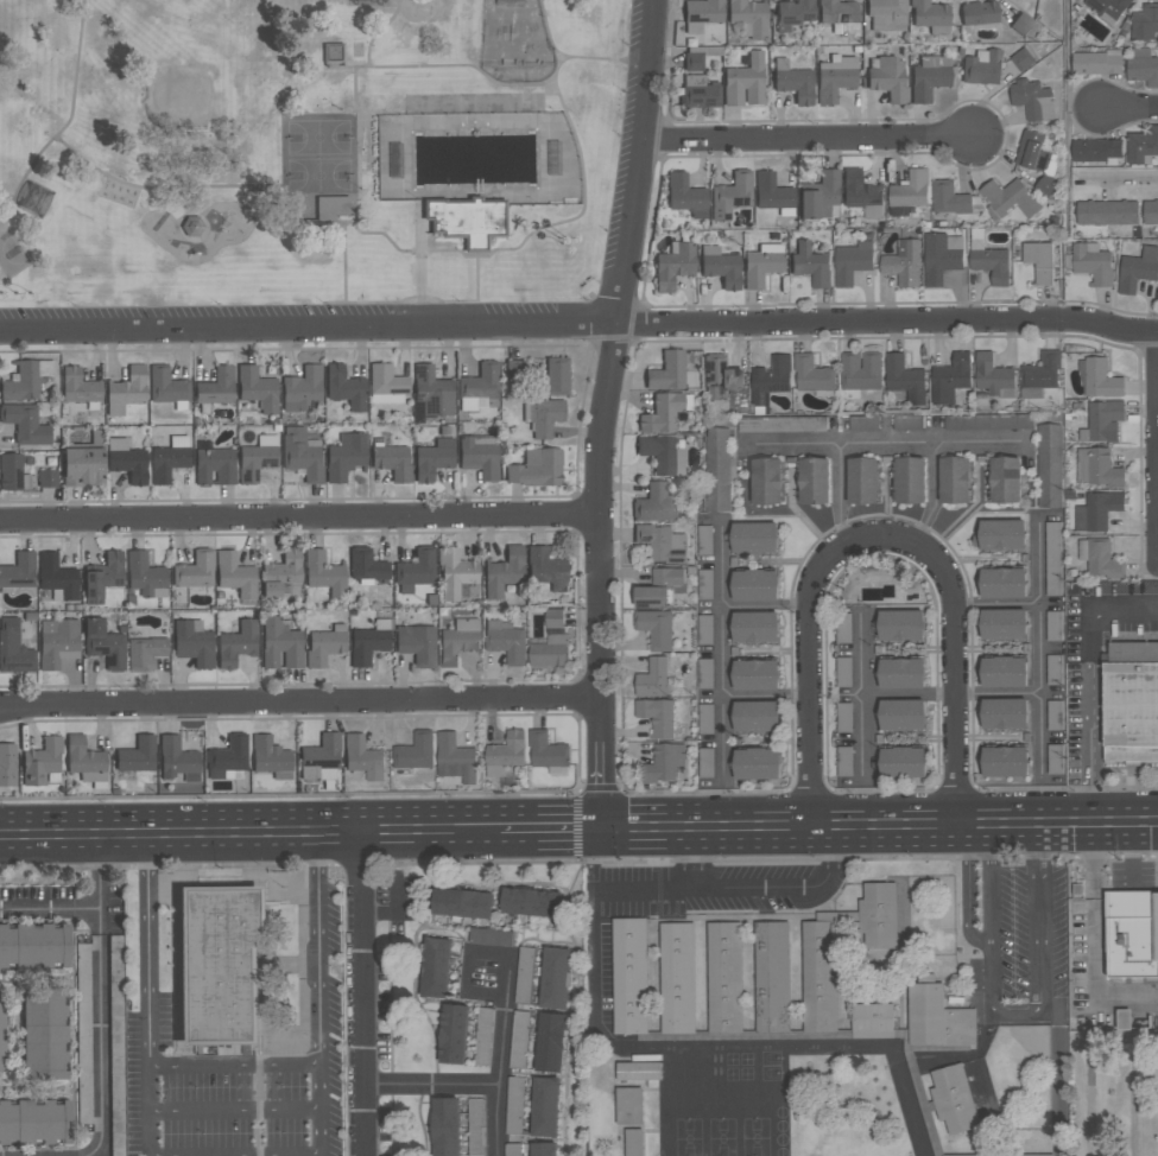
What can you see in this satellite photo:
building: (366, 1)
building: (1107, 8)
building: (979, 12)
building: (701, 13)
building: (792, 13)
building: (886, 14)
building: (930, 15)
building: (748, 17)
building: (840, 17)
building: (1021, 23)
building: (1145, 23)
park: (515, 42)
building: (335, 52)
building: (697, 56)
road: (562, 57)
building: (1021, 59)
building: (1096, 63)
road: (425, 65)
building: (982, 66)
building: (1143, 66)
road: (1065, 69)
building: (835, 76)
building: (929, 76)
building: (887, 77)
building: (745, 81)
building: (793, 81)
building: (698, 91)
park: (178, 97)
building: (1032, 100)
road: (1128, 106)
road: (69, 121)
road: (359, 127)
road: (806, 138)
building: (1143, 145)
park: (305, 151)
building: (1096, 151)
park: (318, 152)
building: (1037, 159)
road: (1120, 180)
building: (909, 192)
building: (772, 193)
building: (861, 193)
building: (685, 195)
building: (730, 195)
building: (820, 195)
building: (33, 197)
building: (951, 198)
building: (1007, 198)
building: (316, 207)
building: (1106, 212)
building: (1150, 212)
building: (468, 220)
road: (380, 231)
park: (12, 255)
road: (343, 255)
building: (941, 256)
building: (988, 259)
building: (1038, 261)
building: (852, 262)
building: (903, 262)
building: (761, 263)
building: (810, 263)
building: (1090, 263)
road: (420, 265)
building: (673, 265)
building: (720, 266)
building: (1137, 269)
road: (423, 301)
road: (580, 322)
building: (514, 368)
building: (667, 369)
building: (721, 373)
building: (859, 373)
building: (556, 375)
building: (812, 375)
building: (1040, 375)
building: (993, 376)
building: (950, 377)
building: (25, 379)
building: (904, 379)
building: (1099, 379)
building: (770, 382)
building: (387, 385)
building: (479, 386)
building: (80, 387)
building: (167, 387)
building: (344, 387)
building: (216, 388)
building: (257, 388)
building: (302, 388)
building: (126, 390)
building: (710, 392)
building: (430, 394)
road: (603, 411)
building: (664, 412)
building: (543, 417)
building: (1102, 421)
building: (25, 423)
building: (987, 423)
building: (863, 424)
building: (907, 424)
building: (782, 425)
road: (790, 440)
road: (836, 444)
building: (663, 452)
building: (302, 453)
road: (934, 453)
building: (346, 455)
building: (480, 456)
building: (258, 457)
building: (169, 458)
building: (434, 458)
building: (127, 459)
building: (392, 459)
building: (83, 461)
building: (215, 464)
building: (1049, 465)
building: (537, 468)
building: (1096, 468)
building: (717, 470)
building: (12, 472)
building: (48, 478)
building: (910, 479)
building: (954, 479)
building: (1005, 479)
building: (766, 481)
building: (814, 481)
building: (862, 481)
building: (656, 503)
building: (1097, 510)
road: (298, 519)
building: (1000, 534)
building: (754, 538)
road: (881, 539)
building: (704, 540)
building: (662, 544)
building: (1052, 559)
building: (1100, 559)
building: (366, 565)
building: (416, 569)
building: (546, 569)
building: (195, 570)
building: (504, 571)
building: (18, 572)
building: (324, 572)
building: (283, 573)
building: (145, 574)
building: (236, 574)
building: (456, 574)
building: (102, 576)
building: (57, 577)
building: (1002, 583)
building: (704, 584)
building: (754, 585)
building: (659, 589)
road: (995, 603)
building: (1002, 624)
building: (900, 625)
building: (755, 627)
building: (654, 628)
building: (842, 628)
building: (58, 641)
building: (458, 641)
building: (506, 641)
building: (194, 642)
building: (280, 642)
building: (369, 642)
building: (551, 642)
building: (103, 643)
building: (236, 643)
building: (417, 643)
building: (325, 644)
building: (13, 648)
road: (1037, 648)
building: (145, 652)
building: (1053, 669)
building: (843, 672)
building: (1004, 672)
building: (901, 673)
building: (755, 674)
building: (652, 679)
road: (1089, 681)
road: (995, 693)
road: (907, 695)
road: (861, 698)
road: (298, 701)
building: (1129, 705)
building: (1004, 713)
building: (901, 714)
building: (657, 716)
building: (755, 716)
building: (1053, 716)
building: (843, 718)
building: (705, 719)
building: (415, 751)
building: (505, 752)
building: (548, 752)
building: (138, 754)
building: (228, 756)
building: (270, 756)
building: (177, 757)
building: (363, 757)
building: (321, 758)
building: (455, 758)
building: (43, 761)
building: (86, 761)
building: (844, 762)
building: (901, 762)
building: (1004, 762)
building: (663, 763)
building: (757, 763)
building: (7, 764)
road: (576, 802)
road: (877, 820)
road: (546, 825)
traffic signals: (596, 825)
road: (248, 830)
road: (1091, 837)
road: (867, 858)
street lamp: (1108, 874)
parking lot: (1131, 875)
road: (1094, 876)
street lamp: (1083, 878)
road: (1107, 878)
road: (1105, 884)
building: (1077, 889)
road: (1144, 889)
road: (967, 890)
road: (1122, 890)
road: (757, 900)
building: (531, 902)
building: (463, 903)
road: (48, 909)
building: (738, 919)
building: (1132, 933)
building: (489, 938)
road: (989, 940)
building: (33, 945)
building: (115, 952)
building: (219, 965)
building: (435, 967)
road: (466, 972)
building: (524, 974)
building: (632, 977)
building: (773, 977)
building: (555, 978)
building: (677, 978)
building: (724, 978)
road: (357, 991)
road: (318, 992)
road: (97, 995)
road: (147, 995)
building: (822, 995)
road: (1038, 996)
building: (937, 1018)
building: (1124, 1018)
building: (1080, 1021)
building: (871, 1022)
building: (44, 1034)
building: (83, 1034)
building: (453, 1034)
building: (483, 1036)
building: (1, 1037)
building: (738, 1037)
building: (519, 1039)
building: (550, 1042)
building: (116, 1046)
road: (682, 1049)
road: (499, 1056)
road: (1089, 1062)
road: (233, 1065)
building: (638, 1072)
building: (915, 1079)
street lamp: (1156, 1080)
road: (426, 1087)
parking lot: (1113, 1093)
road: (1133, 1097)
building: (954, 1103)
building: (514, 1105)
building: (545, 1107)
road: (233, 1111)
building: (629, 1119)
building: (34, 1122)
building: (445, 1126)
building: (476, 1128)
building: (512, 1149)
building: (543, 1149)
building: (1026, 1155)

